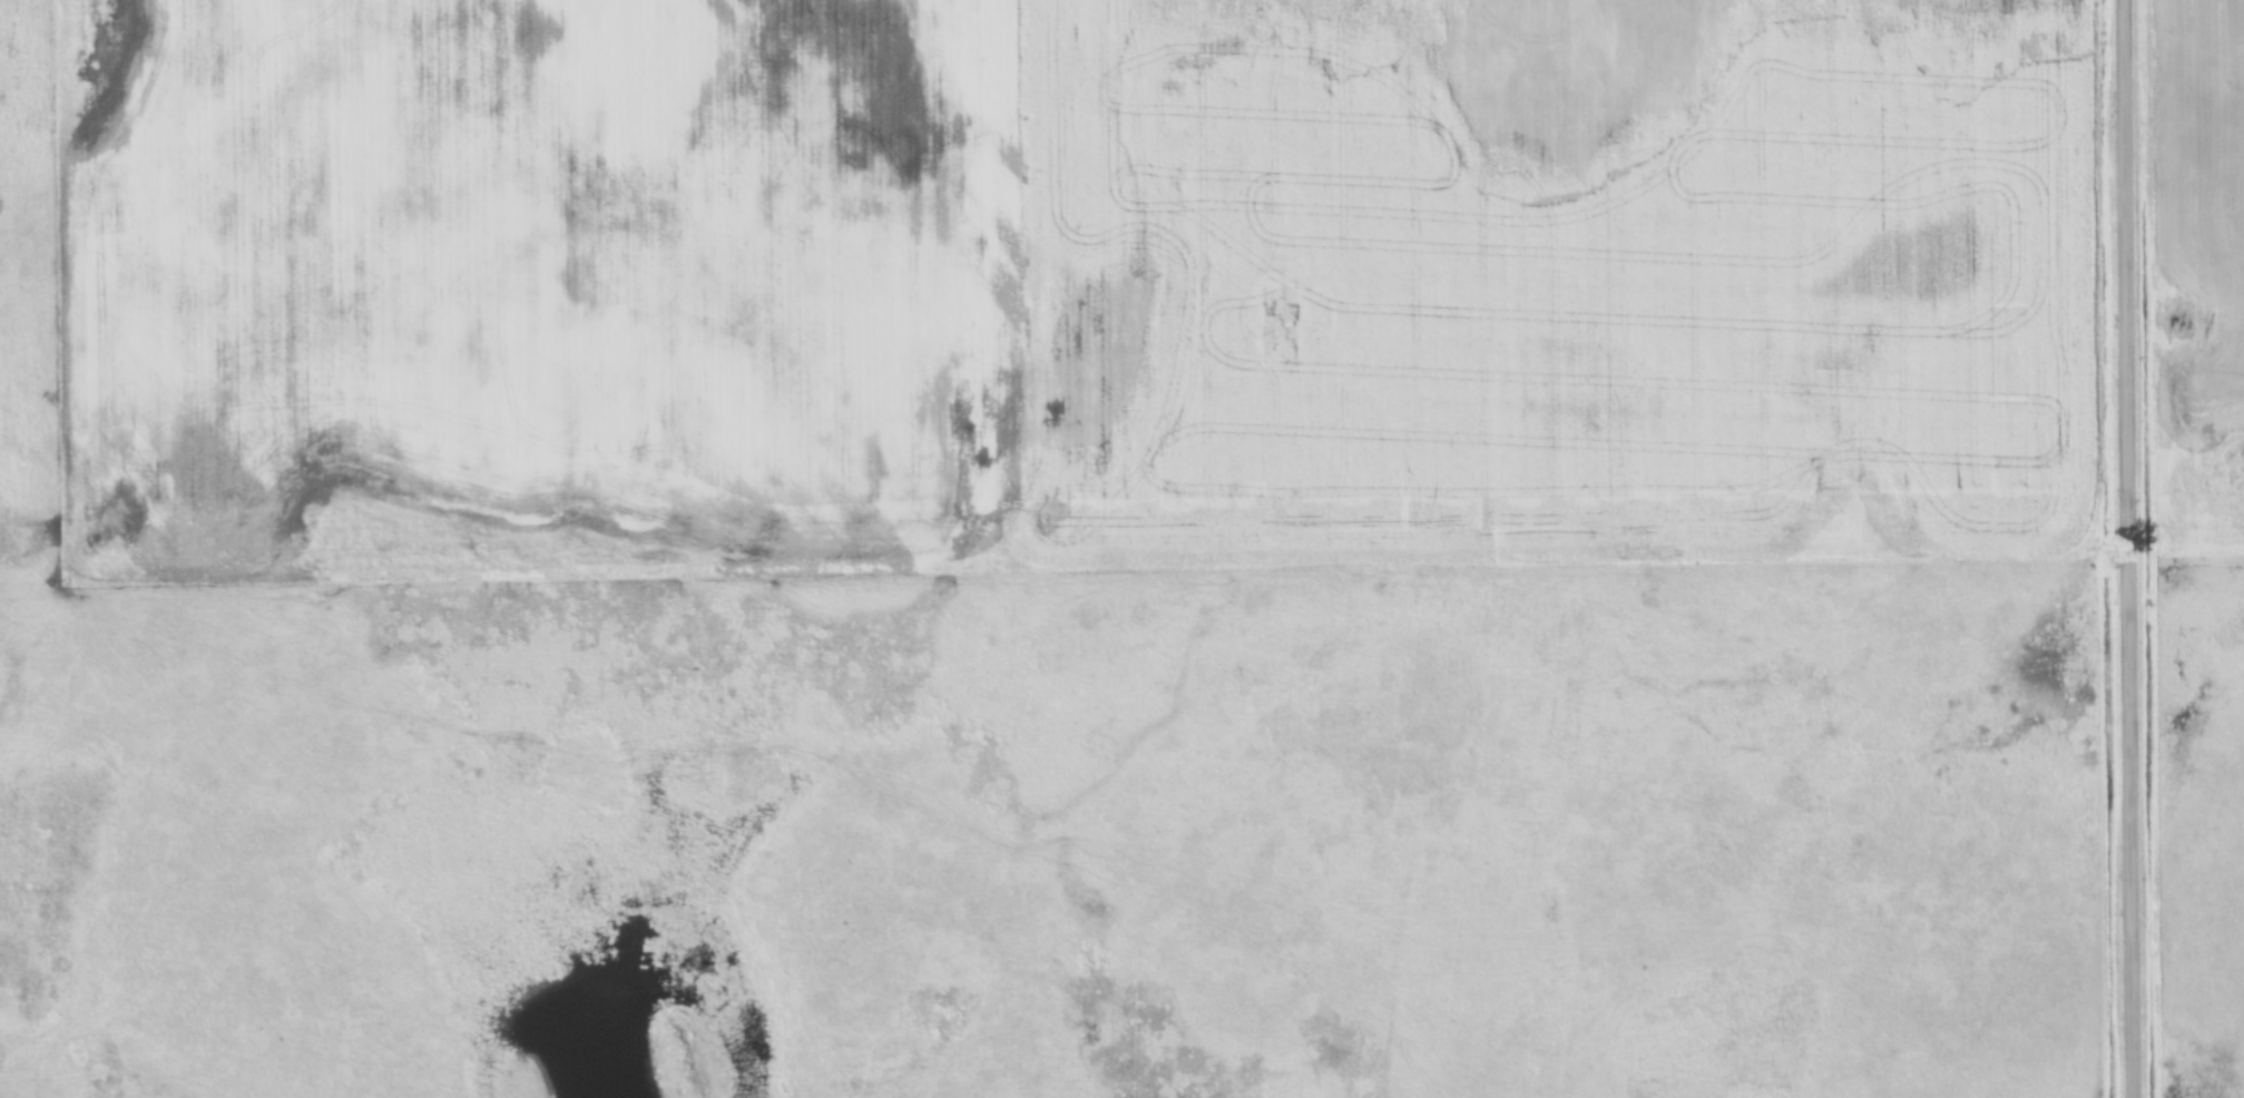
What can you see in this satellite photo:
road: (2132, 549)

